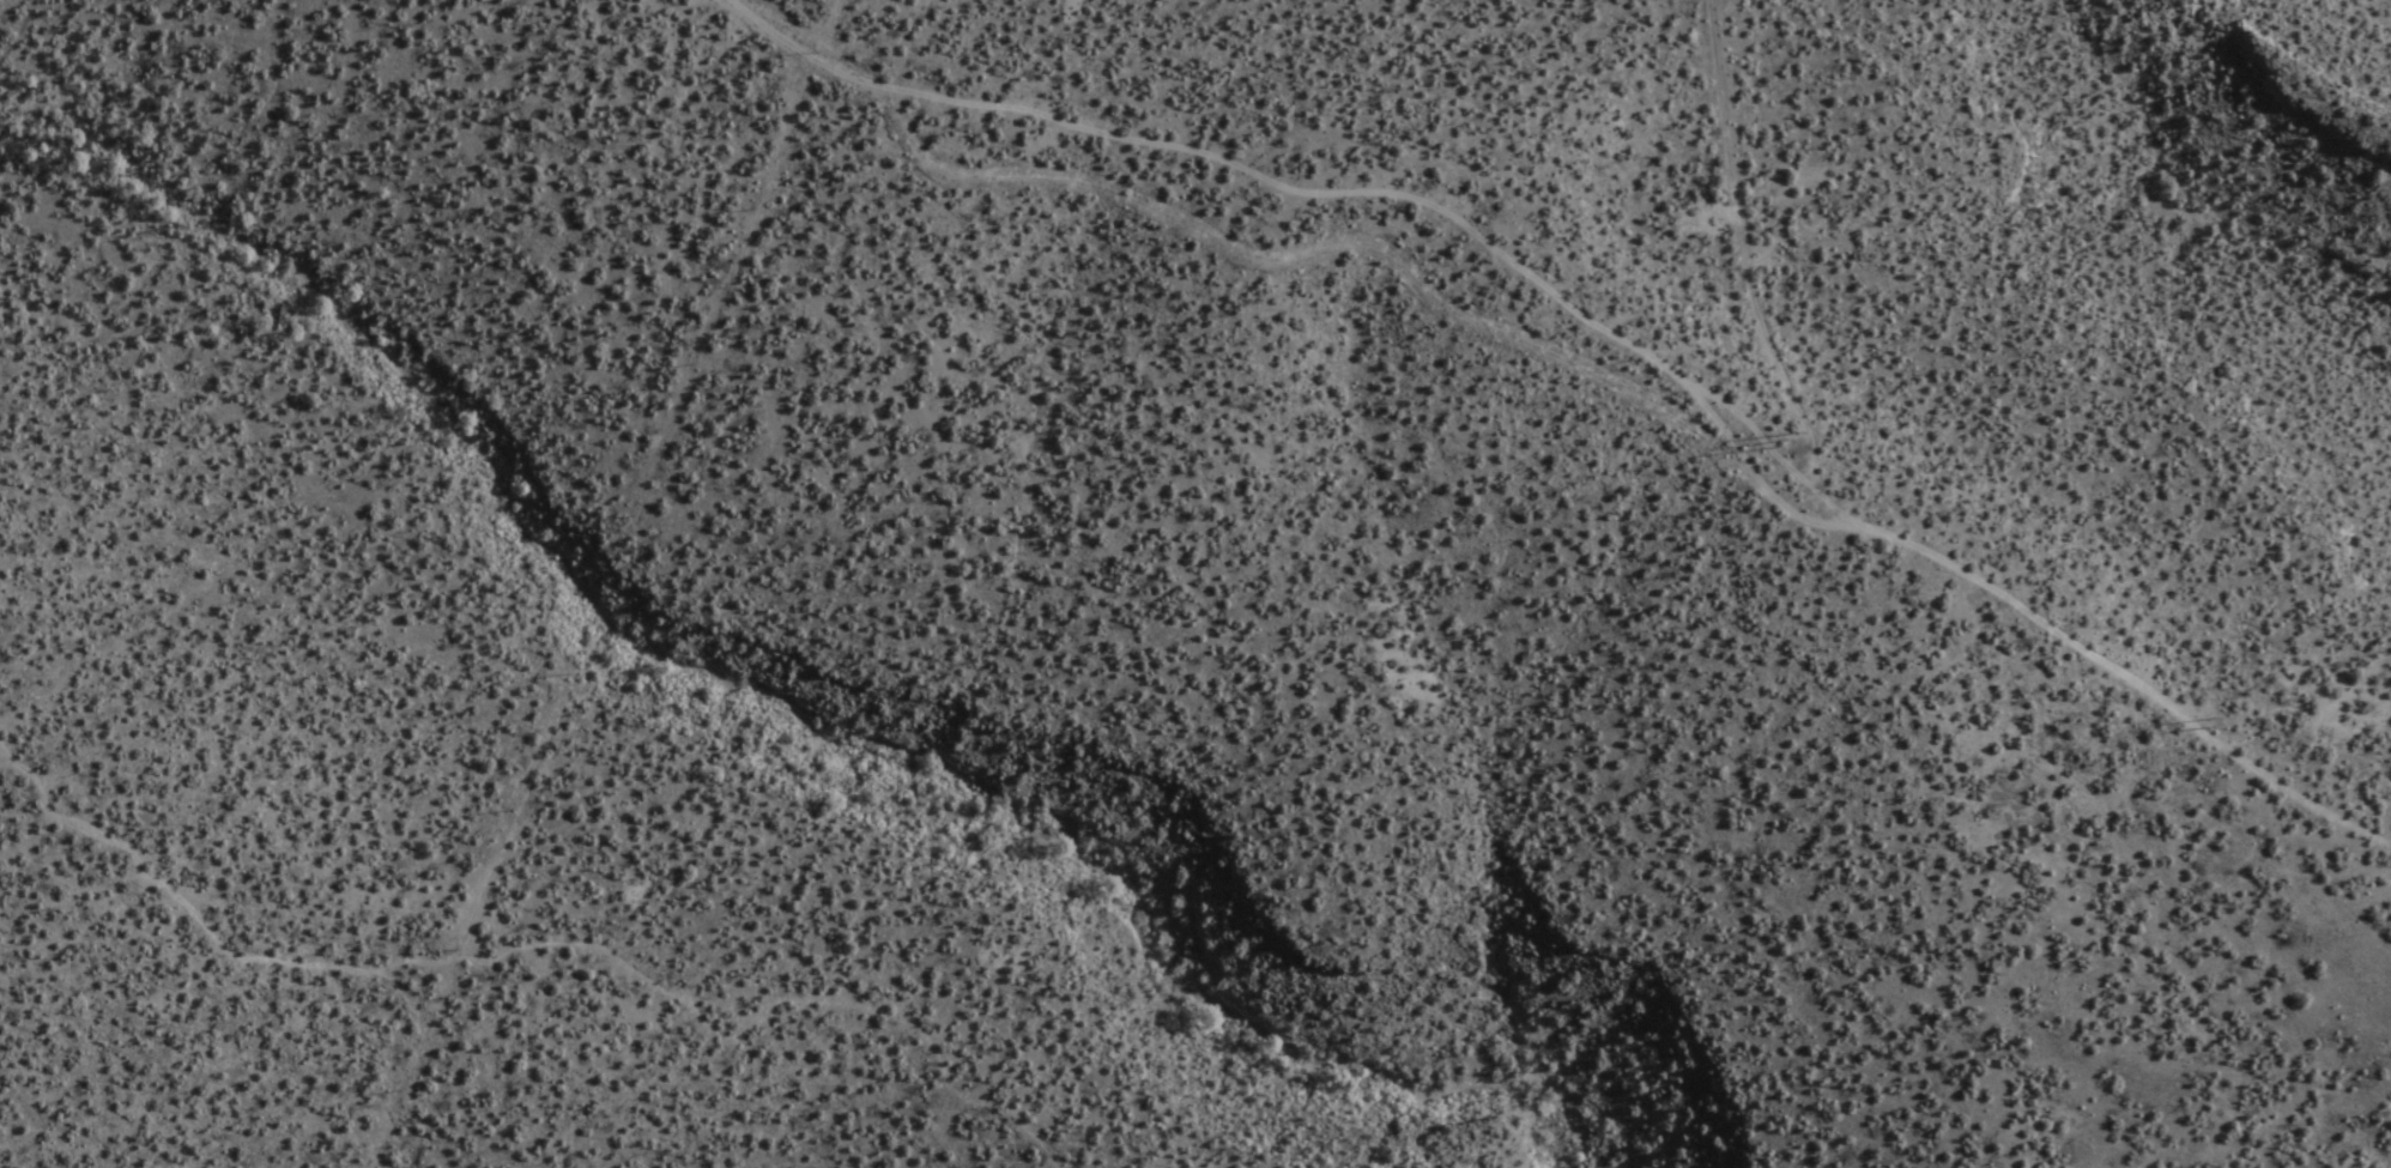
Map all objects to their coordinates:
road: (2198, 222)
road: (1744, 238)
road: (1599, 326)
road: (538, 955)

